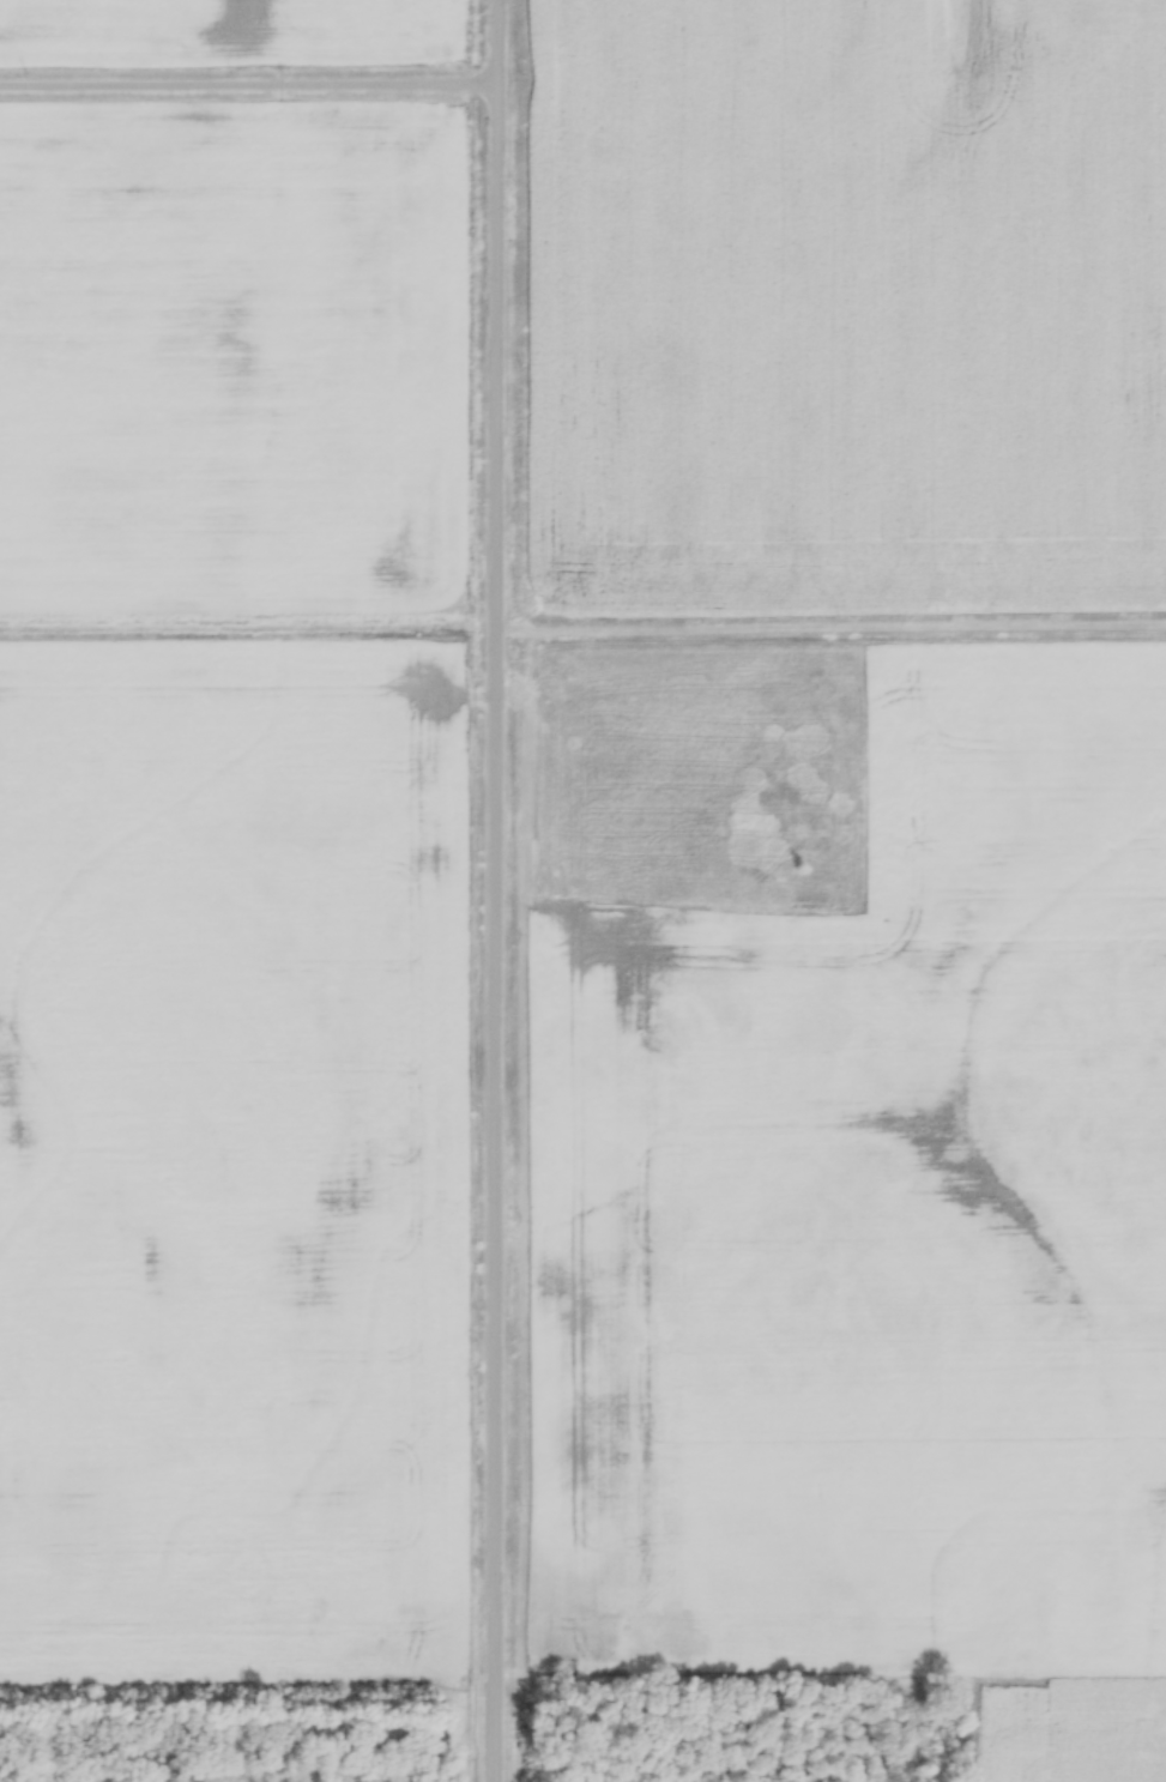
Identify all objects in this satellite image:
road: (248, 87)
road: (830, 633)
road: (496, 890)

